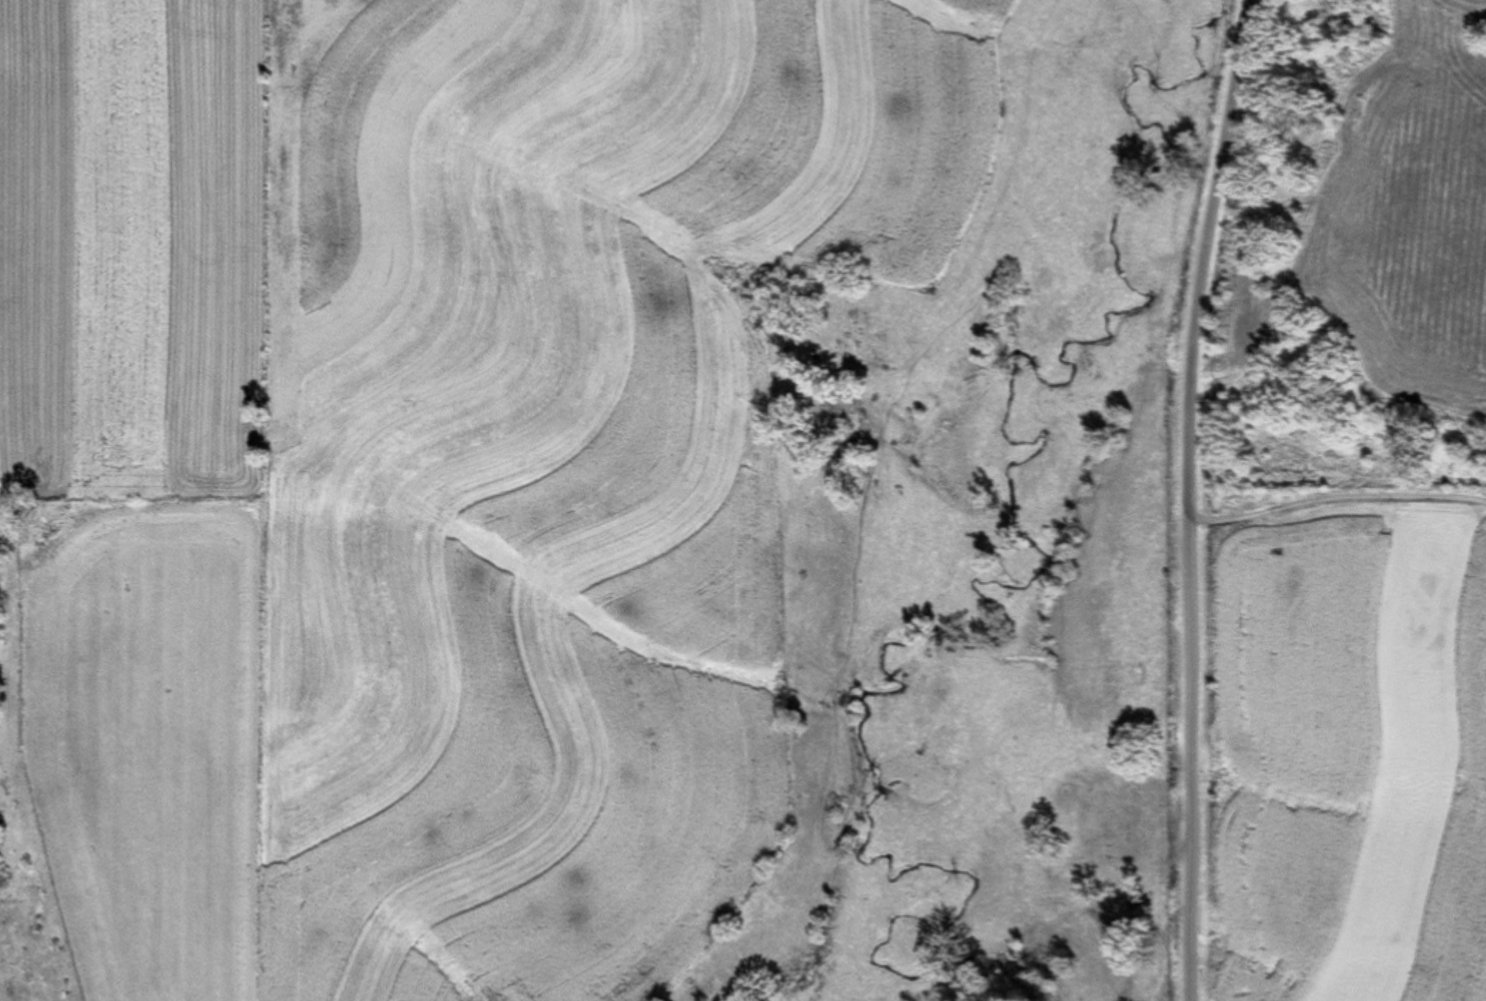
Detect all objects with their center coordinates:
road: (1190, 497)

